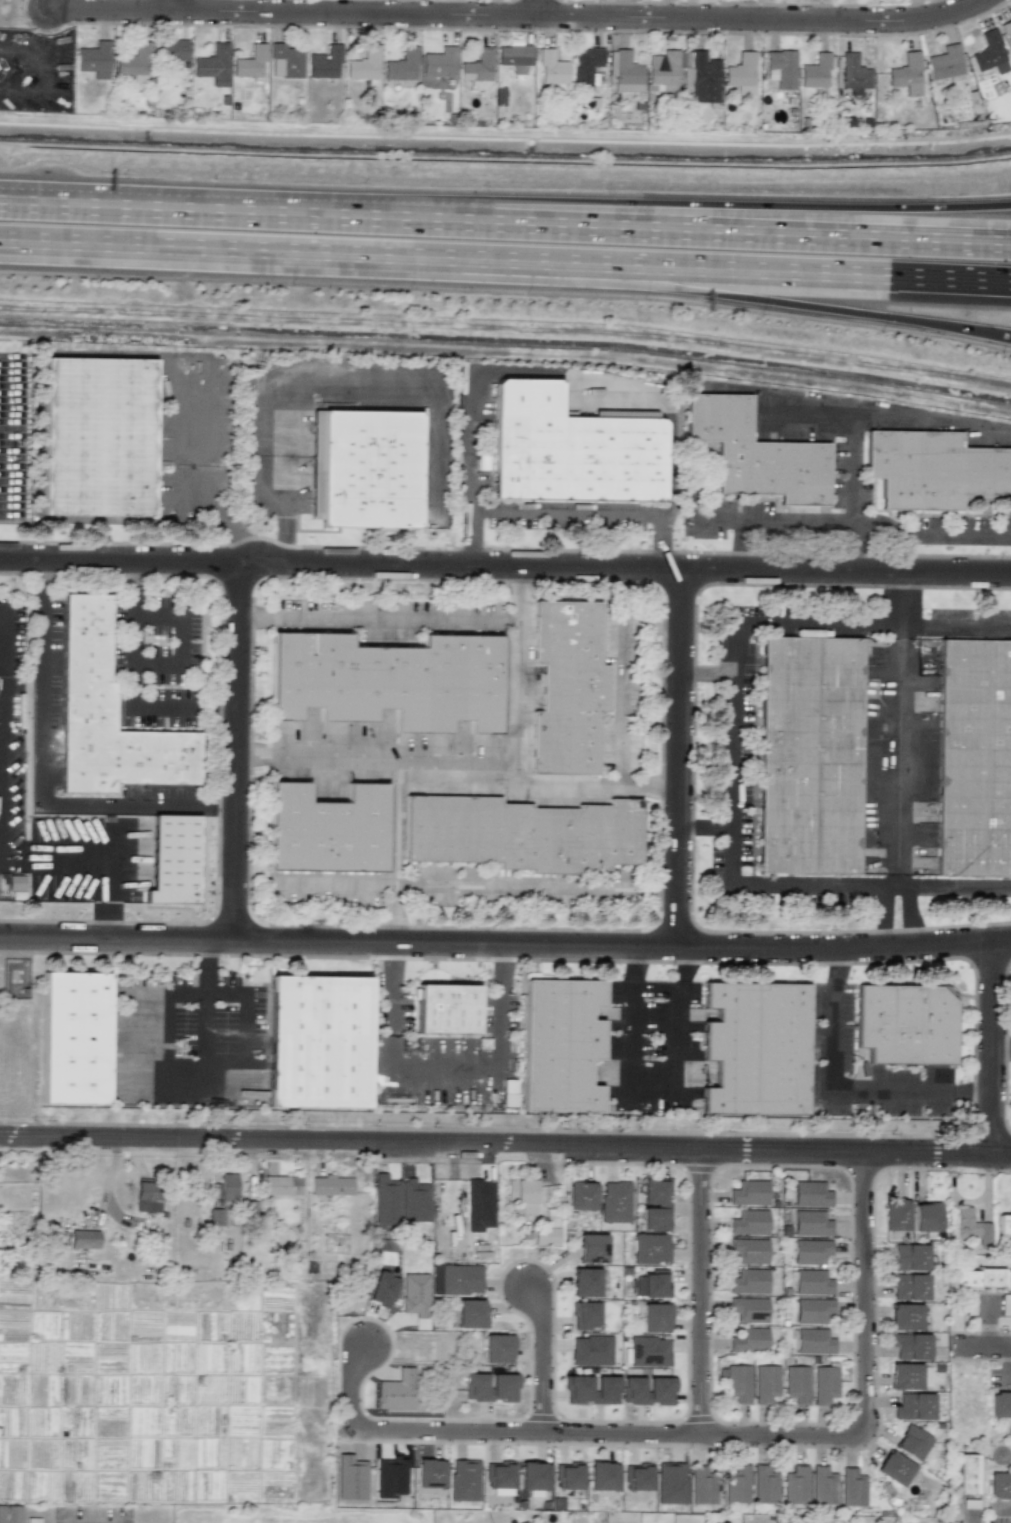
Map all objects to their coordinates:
road: (175, 5)
road: (540, 8)
road: (518, 16)
building: (1007, 30)
building: (171, 49)
building: (990, 53)
building: (514, 57)
building: (95, 59)
building: (285, 61)
building: (325, 62)
building: (945, 62)
building: (250, 63)
building: (439, 63)
building: (134, 64)
building: (585, 64)
building: (214, 65)
building: (364, 65)
building: (402, 65)
building: (552, 68)
building: (781, 68)
building: (741, 70)
building: (625, 72)
building: (816, 72)
building: (854, 72)
building: (907, 74)
building: (663, 75)
building: (661, 89)
road: (207, 208)
road: (713, 210)
road: (713, 224)
road: (326, 265)
road: (832, 288)
road: (832, 310)
road: (318, 387)
road: (935, 416)
road: (818, 422)
building: (103, 438)
road: (471, 442)
building: (573, 449)
building: (756, 453)
building: (365, 468)
building: (935, 470)
road: (857, 471)
road: (565, 512)
road: (771, 521)
road: (933, 537)
road: (471, 539)
road: (660, 540)
road: (855, 554)
road: (505, 566)
road: (137, 587)
road: (903, 599)
road: (376, 617)
road: (820, 625)
road: (3, 626)
road: (957, 628)
road: (149, 658)
parking lot: (160, 660)
road: (619, 671)
road: (709, 673)
building: (388, 680)
building: (567, 687)
road: (237, 706)
building: (112, 716)
road: (733, 751)
road: (899, 754)
road: (470, 757)
building: (814, 757)
road: (680, 758)
building: (972, 760)
road: (44, 777)
road: (588, 786)
road: (705, 827)
building: (326, 829)
building: (522, 834)
road: (397, 850)
road: (813, 880)
building: (16, 883)
road: (474, 887)
road: (959, 892)
road: (907, 911)
road: (885, 913)
road: (505, 946)
building: (453, 1011)
road: (632, 1018)
road: (676, 1019)
road: (205, 1020)
road: (831, 1020)
building: (903, 1024)
building: (73, 1038)
building: (325, 1045)
building: (561, 1045)
building: (756, 1048)
road: (993, 1048)
road: (1002, 1050)
road: (456, 1080)
road: (653, 1090)
road: (912, 1094)
road: (159, 1099)
road: (505, 1144)
building: (282, 1185)
building: (331, 1185)
building: (225, 1189)
building: (747, 1190)
building: (809, 1192)
road: (104, 1193)
building: (521, 1195)
building: (580, 1195)
building: (147, 1196)
building: (385, 1200)
building: (614, 1201)
building: (655, 1204)
building: (479, 1205)
building: (895, 1214)
building: (216, 1217)
building: (925, 1217)
building: (747, 1220)
building: (810, 1221)
building: (970, 1226)
building: (1004, 1226)
building: (547, 1230)
building: (84, 1238)
building: (748, 1247)
building: (591, 1248)
building: (650, 1248)
building: (809, 1249)
building: (909, 1257)
building: (455, 1279)
building: (747, 1279)
building: (980, 1279)
building: (811, 1280)
building: (584, 1282)
building: (652, 1284)
building: (908, 1286)
building: (382, 1289)
building: (970, 1304)
building: (747, 1306)
building: (812, 1307)
building: (470, 1313)
building: (585, 1315)
building: (905, 1316)
building: (655, 1317)
building: (747, 1338)
building: (813, 1339)
road: (982, 1344)
road: (552, 1345)
building: (909, 1346)
building: (497, 1348)
building: (590, 1350)
building: (649, 1351)
road: (540, 1356)
road: (980, 1356)
building: (905, 1376)
building: (737, 1380)
building: (764, 1381)
building: (796, 1381)
building: (823, 1381)
road: (349, 1383)
building: (490, 1387)
building: (591, 1389)
building: (648, 1390)
building: (1000, 1404)
building: (914, 1406)
road: (727, 1422)
road: (525, 1430)
road: (776, 1434)
building: (911, 1442)
road: (777, 1443)
building: (894, 1468)
building: (430, 1473)
building: (967, 1474)
building: (568, 1475)
building: (602, 1476)
building: (639, 1476)
building: (500, 1478)
building: (533, 1478)
building: (464, 1480)
building: (670, 1483)
building: (736, 1484)
building: (764, 1484)
building: (795, 1484)
building: (703, 1485)
building: (822, 1485)
building: (999, 1485)
building: (852, 1488)
building: (10, 1514)
building: (524, 1522)

